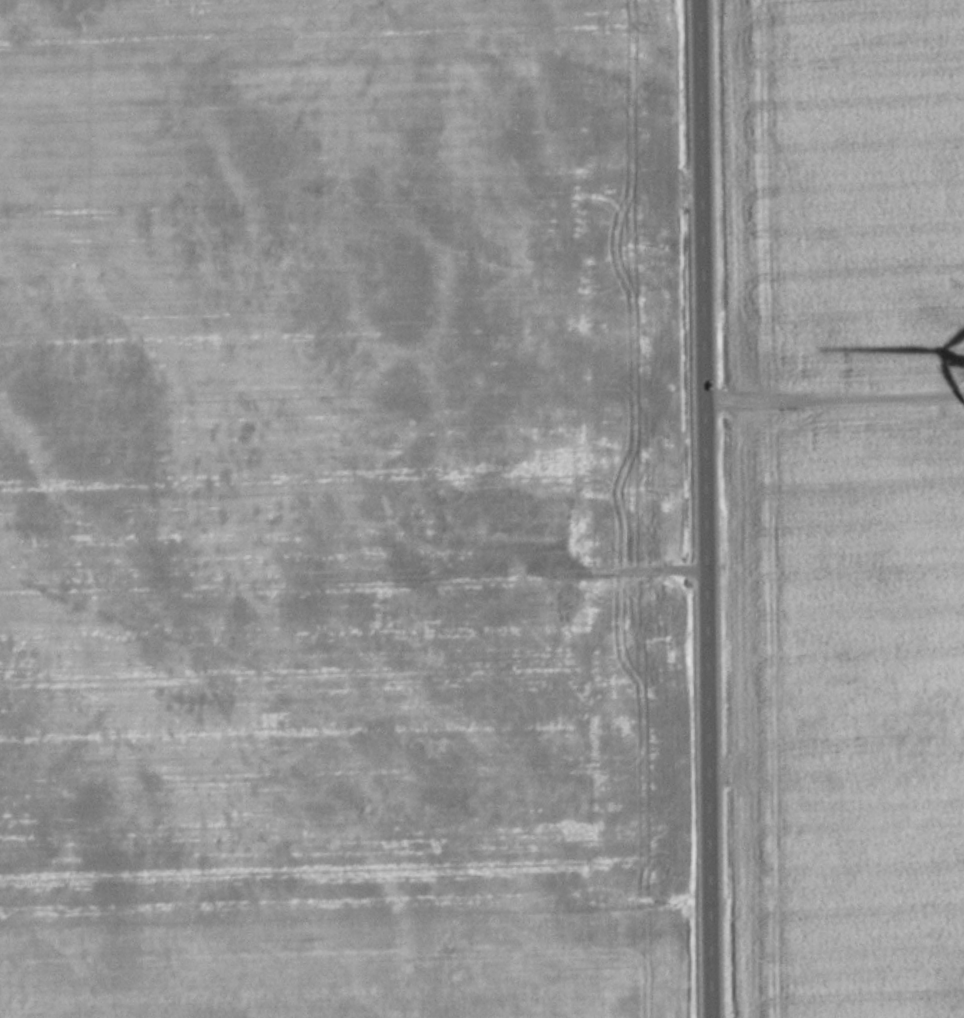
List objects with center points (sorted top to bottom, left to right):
road: (836, 398)
road: (710, 509)

